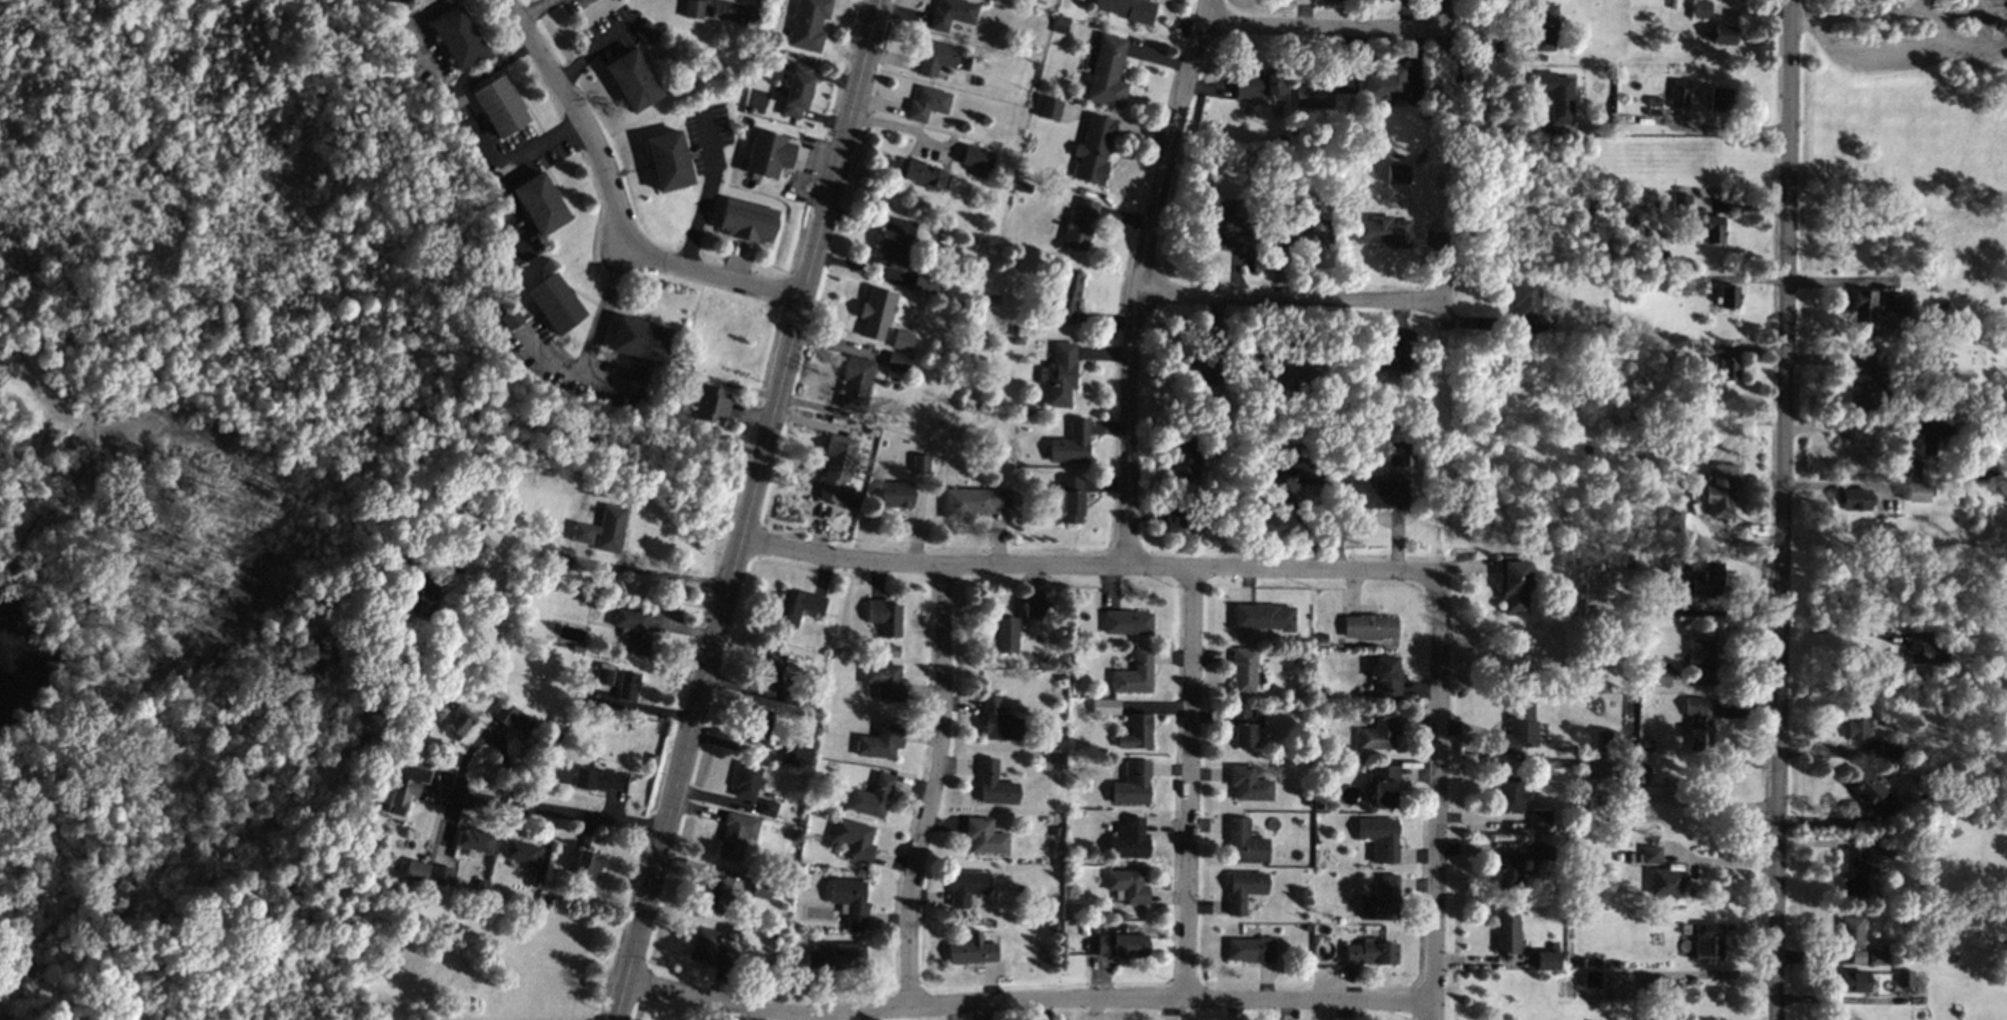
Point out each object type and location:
road: (729, 5)
building: (693, 9)
building: (1126, 9)
building: (1701, 9)
road: (536, 10)
building: (951, 13)
building: (808, 24)
building: (1060, 25)
road: (1973, 26)
building: (1545, 27)
road: (1318, 29)
road: (1932, 30)
building: (646, 32)
building: (1723, 34)
building: (456, 37)
road: (1985, 54)
building: (936, 57)
road: (1851, 60)
building: (1107, 73)
building: (632, 80)
building: (1384, 83)
building: (1259, 85)
building: (796, 90)
building: (1679, 93)
building: (1557, 95)
building: (1314, 96)
building: (452, 99)
building: (1719, 99)
building: (926, 104)
building: (499, 106)
building: (1049, 108)
road: (579, 119)
road: (1491, 121)
road: (898, 128)
road: (1724, 128)
building: (1093, 150)
building: (767, 154)
road: (518, 156)
building: (976, 158)
building: (668, 160)
building: (1397, 174)
building: (924, 175)
road: (703, 194)
building: (539, 204)
building: (1680, 204)
building: (747, 221)
building: (1228, 223)
building: (1079, 225)
building: (1713, 229)
building: (1382, 231)
building: (1305, 232)
building: (892, 249)
road: (716, 275)
road: (1135, 280)
building: (924, 283)
road: (1283, 297)
building: (1729, 297)
building: (1066, 298)
building: (553, 303)
building: (1878, 306)
building: (1528, 308)
building: (876, 313)
building: (509, 318)
building: (640, 339)
building: (901, 340)
road: (590, 341)
building: (1711, 349)
building: (1388, 357)
building: (896, 363)
building: (1729, 368)
building: (1058, 375)
building: (637, 376)
building: (1279, 377)
building: (1200, 379)
road: (604, 382)
building: (854, 384)
building: (707, 404)
building: (1929, 429)
building: (1070, 444)
building: (1397, 454)
building: (1183, 459)
building: (919, 468)
building: (1909, 468)
building: (1297, 469)
building: (835, 470)
building: (1980, 474)
building: (1721, 489)
building: (1372, 491)
building: (1919, 492)
building: (895, 494)
building: (1070, 499)
building: (972, 502)
road: (1782, 509)
road: (748, 510)
building: (1184, 519)
building: (1676, 521)
building: (602, 530)
building: (486, 536)
road: (1088, 568)
road: (648, 574)
road: (554, 576)
building: (1708, 579)
building: (1515, 585)
building: (422, 600)
building: (796, 606)
building: (1034, 610)
building: (884, 617)
building: (1263, 617)
building: (1127, 622)
building: (1370, 627)
building: (632, 629)
road: (1834, 631)
building: (1006, 635)
building: (1925, 649)
building: (1701, 658)
building: (768, 669)
building: (1244, 671)
building: (1134, 674)
building: (1661, 674)
building: (1387, 676)
building: (603, 677)
building: (885, 681)
building: (627, 687)
building: (1105, 706)
building: (513, 719)
building: (997, 721)
building: (459, 722)
building: (1859, 723)
building: (1698, 724)
building: (758, 727)
building: (1245, 727)
building: (1519, 728)
building: (1136, 732)
building: (1380, 733)
building: (1608, 738)
building: (879, 742)
building: (1889, 749)
building: (795, 753)
building: (1639, 774)
building: (1600, 778)
building: (596, 780)
building: (745, 782)
building: (1132, 784)
building: (1249, 784)
building: (995, 785)
road: (1190, 786)
building: (405, 787)
building: (1383, 787)
road: (932, 789)
building: (1872, 794)
building: (1510, 795)
road: (1435, 796)
building: (871, 797)
road: (1715, 805)
building: (766, 808)
road: (550, 814)
building: (1540, 819)
building: (735, 835)
building: (984, 836)
building: (1380, 838)
building: (853, 839)
building: (1129, 839)
building: (474, 840)
building: (1246, 842)
building: (1541, 851)
building: (521, 852)
building: (1652, 854)
building: (587, 864)
building: (1855, 870)
building: (416, 871)
building: (1509, 872)
building: (441, 875)
building: (1666, 882)
building: (1127, 886)
building: (967, 887)
building: (1244, 889)
building: (716, 893)
building: (761, 893)
building: (849, 900)
building: (1382, 900)
building: (1508, 931)
building: (1852, 932)
building: (1709, 942)
building: (703, 945)
building: (1122, 945)
building: (971, 950)
building: (1251, 950)
building: (1371, 953)
building: (1877, 955)
building: (836, 956)
building: (1857, 957)
building: (1547, 960)
road: (1706, 972)
building: (1904, 978)
building: (1854, 982)
building: (1602, 983)
building: (1662, 987)
road: (1026, 1002)

